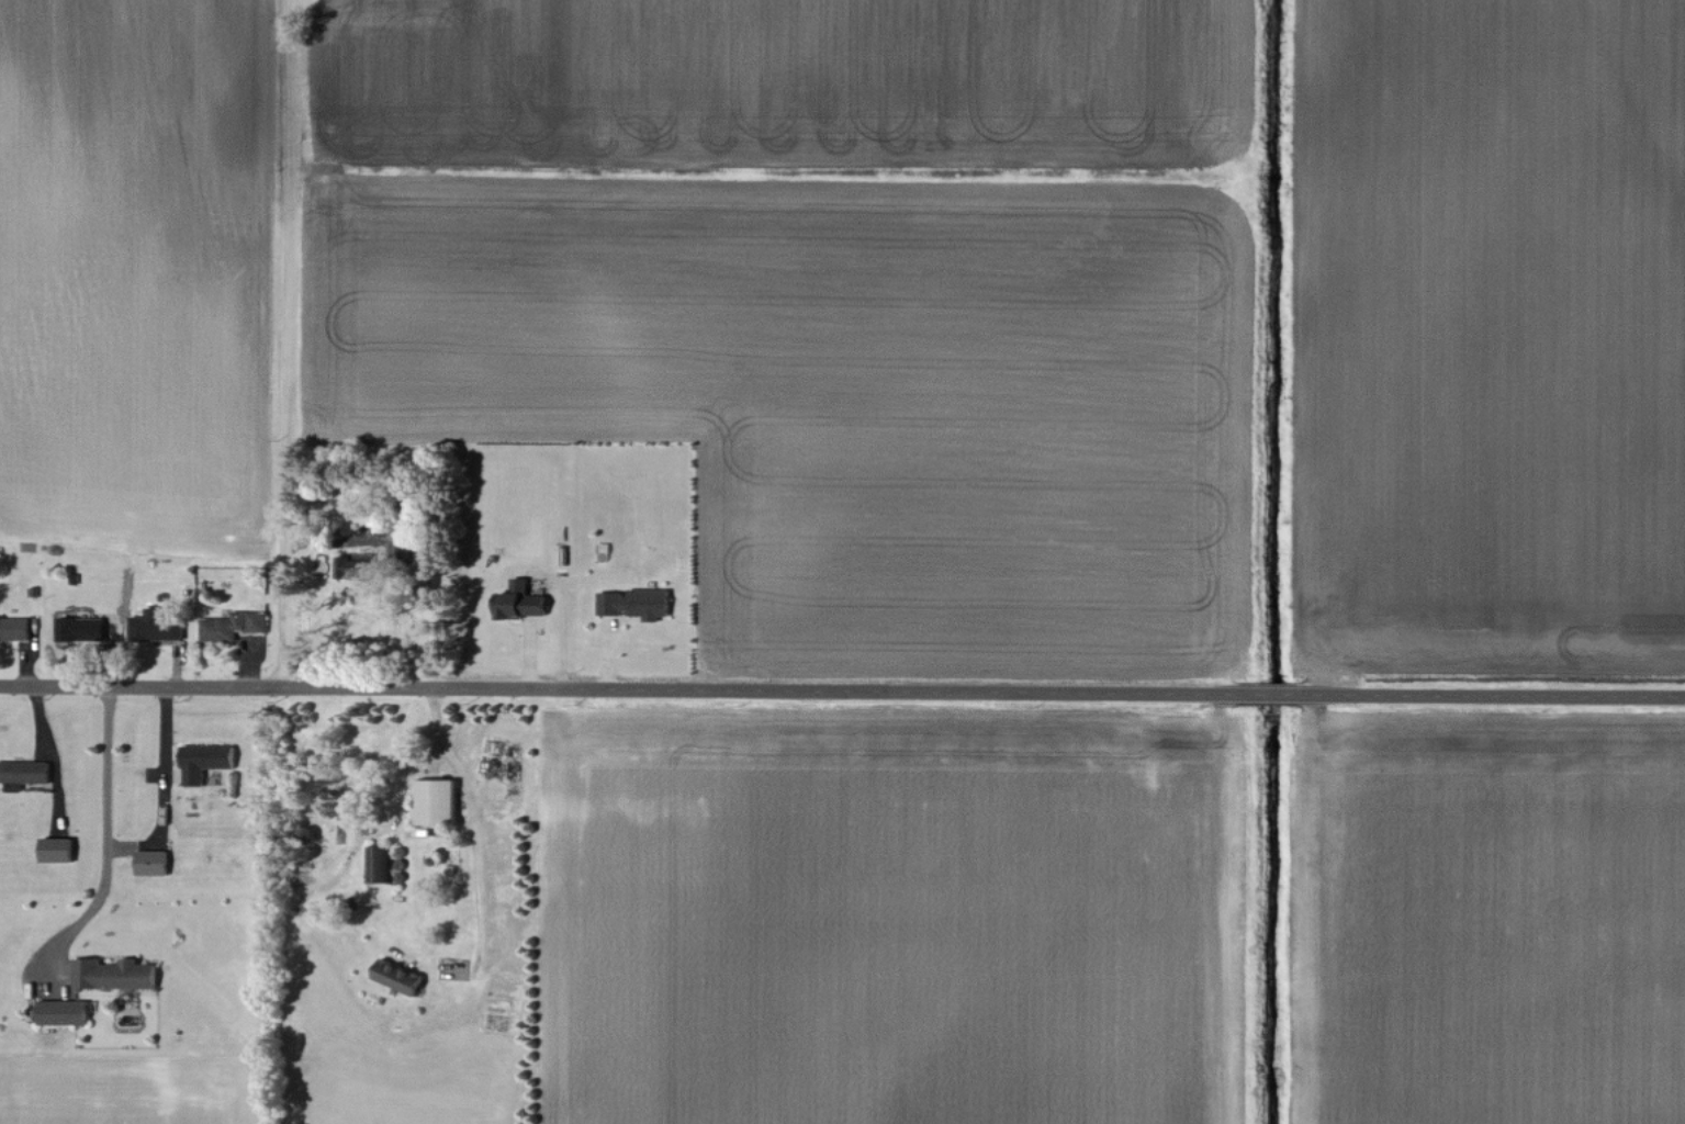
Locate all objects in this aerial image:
road: (287, 345)
building: (523, 600)
building: (639, 607)
building: (233, 625)
building: (15, 629)
building: (82, 629)
building: (157, 629)
road: (630, 692)
road: (1277, 696)
road: (1489, 697)
building: (206, 761)
building: (24, 774)
building: (438, 801)
road: (472, 833)
road: (109, 835)
building: (58, 850)
building: (154, 862)
building: (119, 974)
building: (398, 977)
building: (65, 1012)

